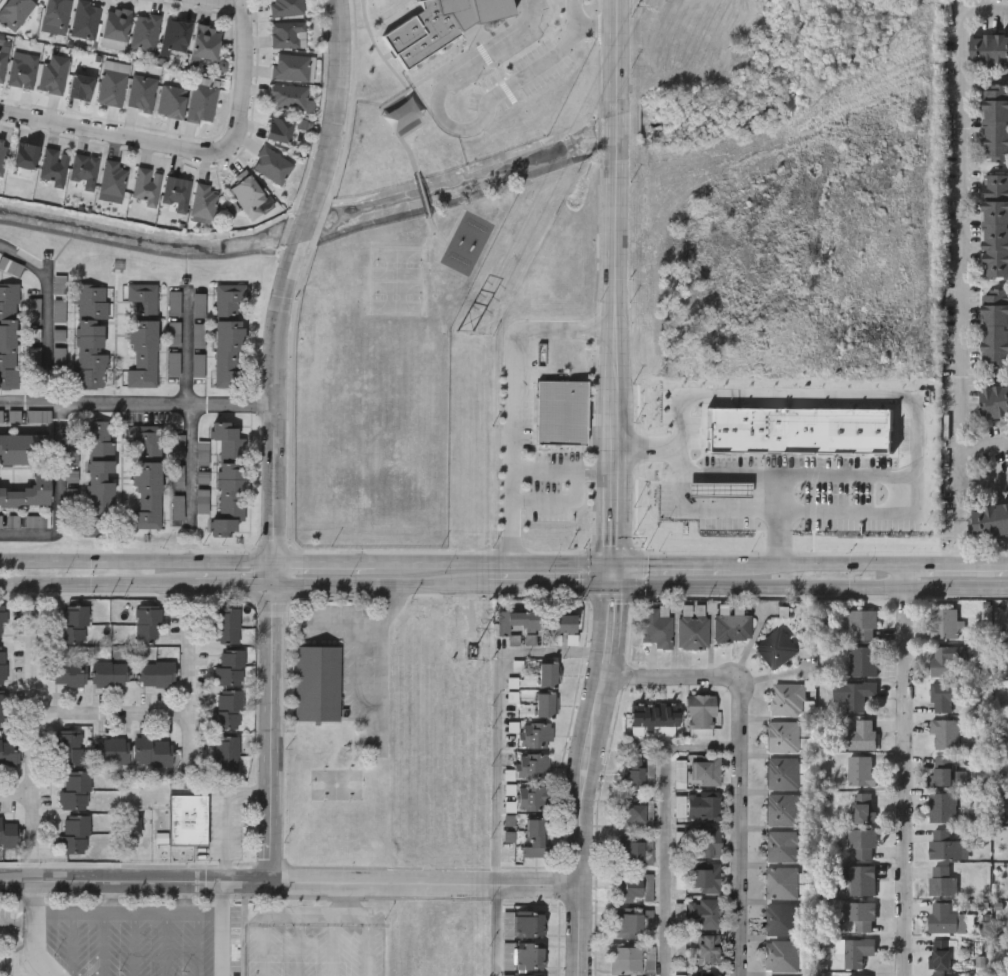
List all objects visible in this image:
road: (218, 4)
building: (286, 7)
power tower: (638, 8)
building: (15, 12)
building: (56, 13)
building: (85, 20)
building: (439, 26)
building: (115, 28)
road: (595, 29)
building: (145, 31)
building: (176, 35)
building: (288, 35)
building: (205, 41)
building: (988, 50)
building: (3, 60)
building: (289, 67)
building: (22, 72)
building: (53, 74)
building: (112, 86)
building: (81, 87)
building: (141, 93)
building: (288, 97)
road: (350, 100)
building: (201, 101)
building: (171, 102)
road: (338, 102)
building: (995, 123)
road: (458, 128)
building: (279, 130)
road: (189, 154)
building: (2, 155)
building: (25, 156)
building: (271, 165)
building: (52, 167)
building: (83, 172)
building: (111, 182)
building: (146, 186)
building: (176, 193)
building: (247, 194)
building: (202, 201)
road: (319, 225)
building: (995, 226)
road: (302, 228)
road: (961, 237)
road: (613, 281)
building: (173, 305)
parking lot: (173, 305)
building: (198, 306)
parking lot: (198, 306)
road: (52, 310)
building: (994, 328)
building: (143, 334)
building: (173, 334)
parking lot: (173, 334)
building: (8, 335)
building: (228, 335)
building: (90, 336)
building: (197, 336)
parking lot: (197, 336)
power tower: (468, 338)
building: (173, 364)
parking lot: (173, 364)
road: (514, 397)
road: (867, 397)
building: (995, 400)
road: (138, 405)
road: (277, 407)
road: (193, 410)
building: (561, 411)
road: (984, 445)
building: (177, 447)
parking lot: (177, 447)
building: (15, 449)
road: (70, 462)
road: (562, 471)
road: (764, 474)
road: (847, 475)
building: (147, 477)
building: (228, 478)
building: (99, 479)
road: (984, 481)
building: (26, 494)
road: (559, 500)
road: (959, 508)
road: (710, 509)
building: (990, 520)
road: (35, 532)
road: (563, 551)
road: (136, 560)
road: (323, 562)
road: (443, 562)
road: (562, 563)
traffic signals: (612, 564)
road: (671, 564)
road: (818, 564)
road: (956, 565)
road: (273, 574)
road: (611, 576)
road: (136, 586)
road: (373, 587)
road: (542, 587)
traffic signals: (611, 588)
road: (809, 588)
building: (519, 621)
building: (1, 622)
road: (363, 622)
building: (565, 622)
building: (863, 622)
building: (944, 622)
building: (73, 625)
building: (148, 625)
building: (227, 625)
building: (658, 625)
building: (733, 627)
building: (693, 632)
building: (776, 647)
power tower: (468, 658)
building: (862, 660)
building: (944, 661)
building: (2, 667)
building: (229, 668)
building: (69, 673)
building: (548, 673)
building: (110, 674)
building: (156, 674)
road: (190, 677)
building: (317, 685)
building: (852, 693)
building: (943, 695)
building: (789, 701)
building: (546, 703)
building: (2, 709)
building: (228, 709)
road: (113, 714)
building: (701, 715)
building: (656, 716)
road: (498, 718)
road: (34, 721)
building: (944, 732)
building: (535, 733)
building: (862, 733)
road: (270, 735)
building: (783, 735)
building: (70, 747)
building: (9, 751)
building: (111, 751)
building: (152, 751)
building: (225, 753)
road: (741, 761)
building: (534, 765)
building: (707, 768)
building: (860, 769)
building: (942, 769)
road: (904, 770)
building: (634, 771)
building: (783, 772)
road: (580, 780)
building: (75, 791)
building: (534, 796)
road: (16, 798)
building: (703, 806)
building: (863, 806)
building: (941, 806)
building: (783, 808)
building: (631, 814)
road: (226, 817)
building: (187, 820)
road: (665, 824)
building: (8, 834)
building: (74, 835)
building: (536, 837)
building: (708, 841)
building: (861, 842)
building: (782, 844)
building: (942, 844)
building: (630, 850)
building: (707, 877)
building: (861, 879)
building: (941, 880)
building: (782, 882)
road: (247, 885)
road: (423, 885)
road: (112, 887)
building: (630, 889)
road: (111, 899)
road: (184, 899)
road: (224, 899)
road: (559, 910)
road: (130, 911)
building: (705, 913)
building: (859, 914)
road: (323, 917)
building: (781, 918)
building: (943, 918)
building: (628, 924)
road: (18, 928)
road: (266, 928)
road: (367, 928)
road: (496, 930)
road: (37, 936)
road: (335, 936)
building: (530, 939)
road: (72, 943)
road: (104, 943)
road: (135, 943)
road: (166, 943)
road: (198, 944)
road: (224, 944)
road: (306, 947)
building: (678, 949)
building: (709, 949)
building: (856, 951)
building: (941, 954)
building: (781, 955)
building: (626, 959)
building: (679, 975)
building: (705, 975)
building: (859, 975)
building: (941, 975)

